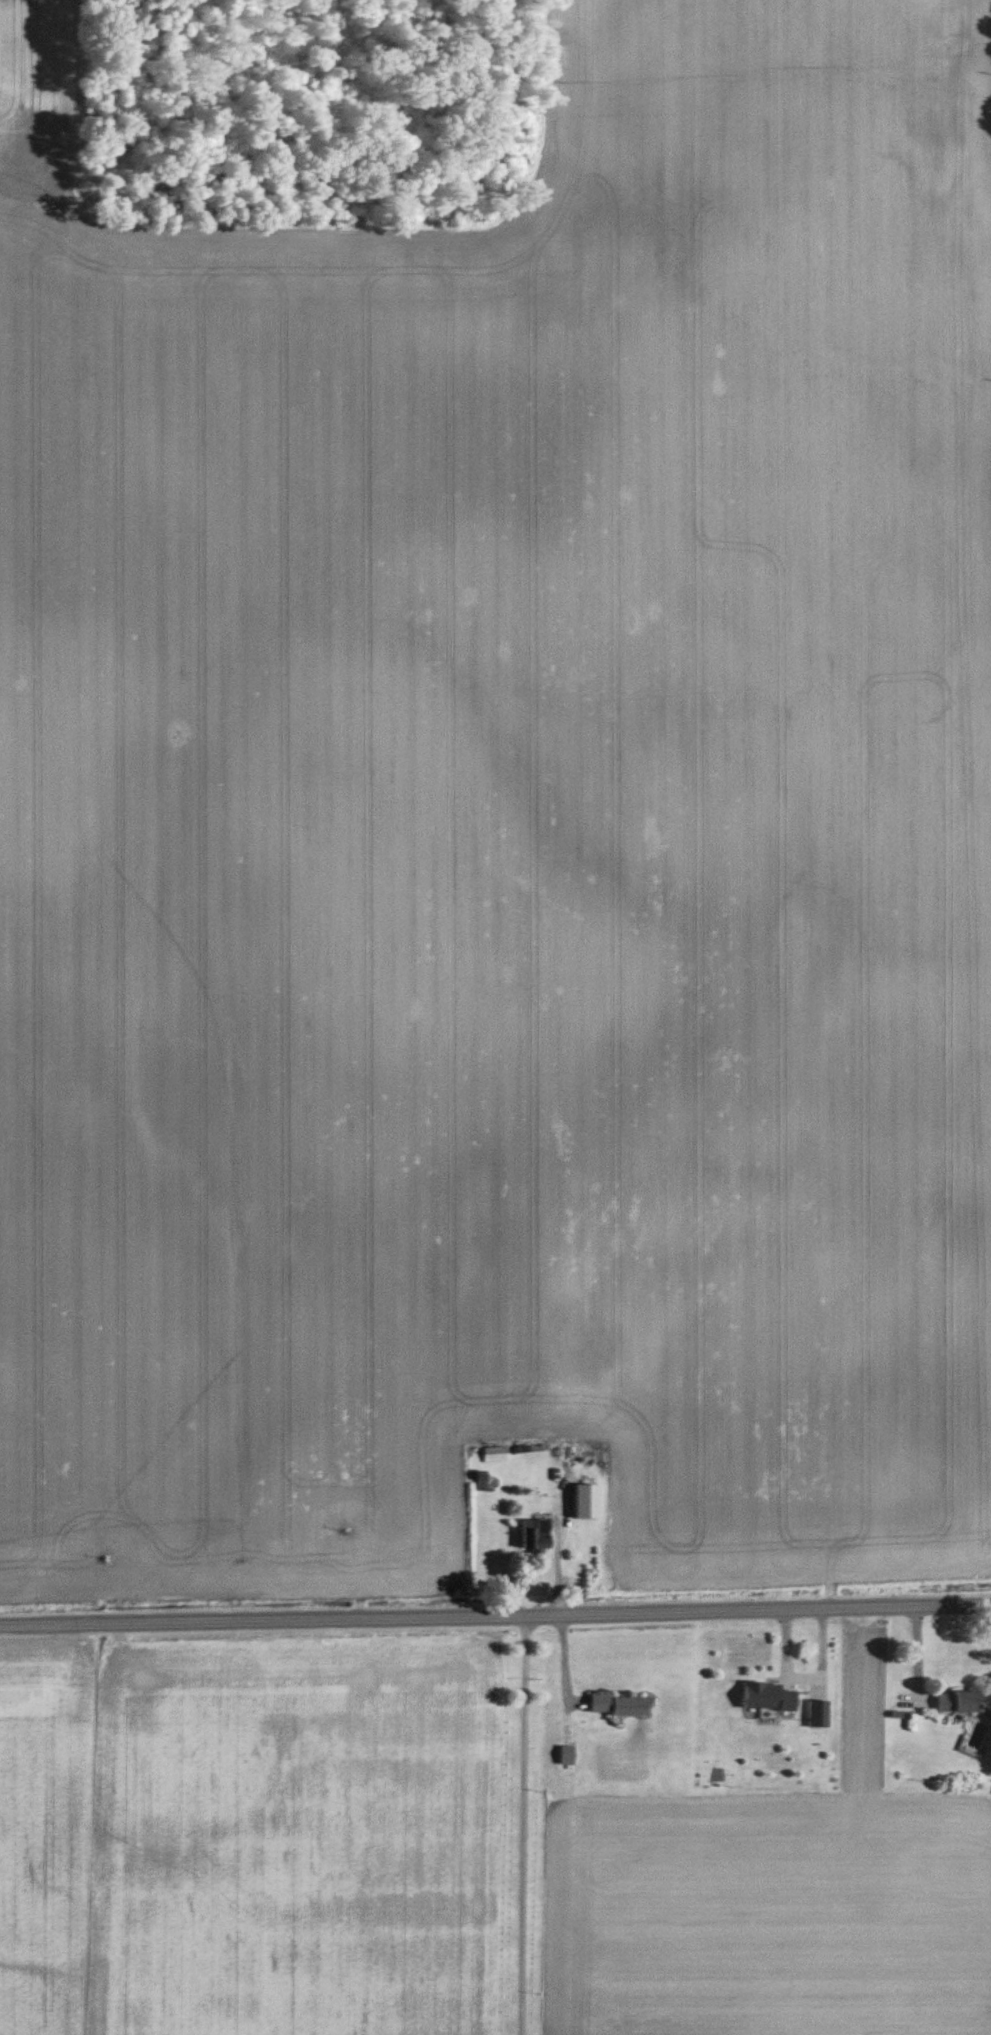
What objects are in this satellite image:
building: (574, 1310)
building: (494, 1456)
building: (535, 1535)
road: (495, 1612)
building: (767, 1697)
building: (957, 1702)
building: (619, 1706)
building: (818, 1714)
building: (566, 1756)
road: (523, 1823)

